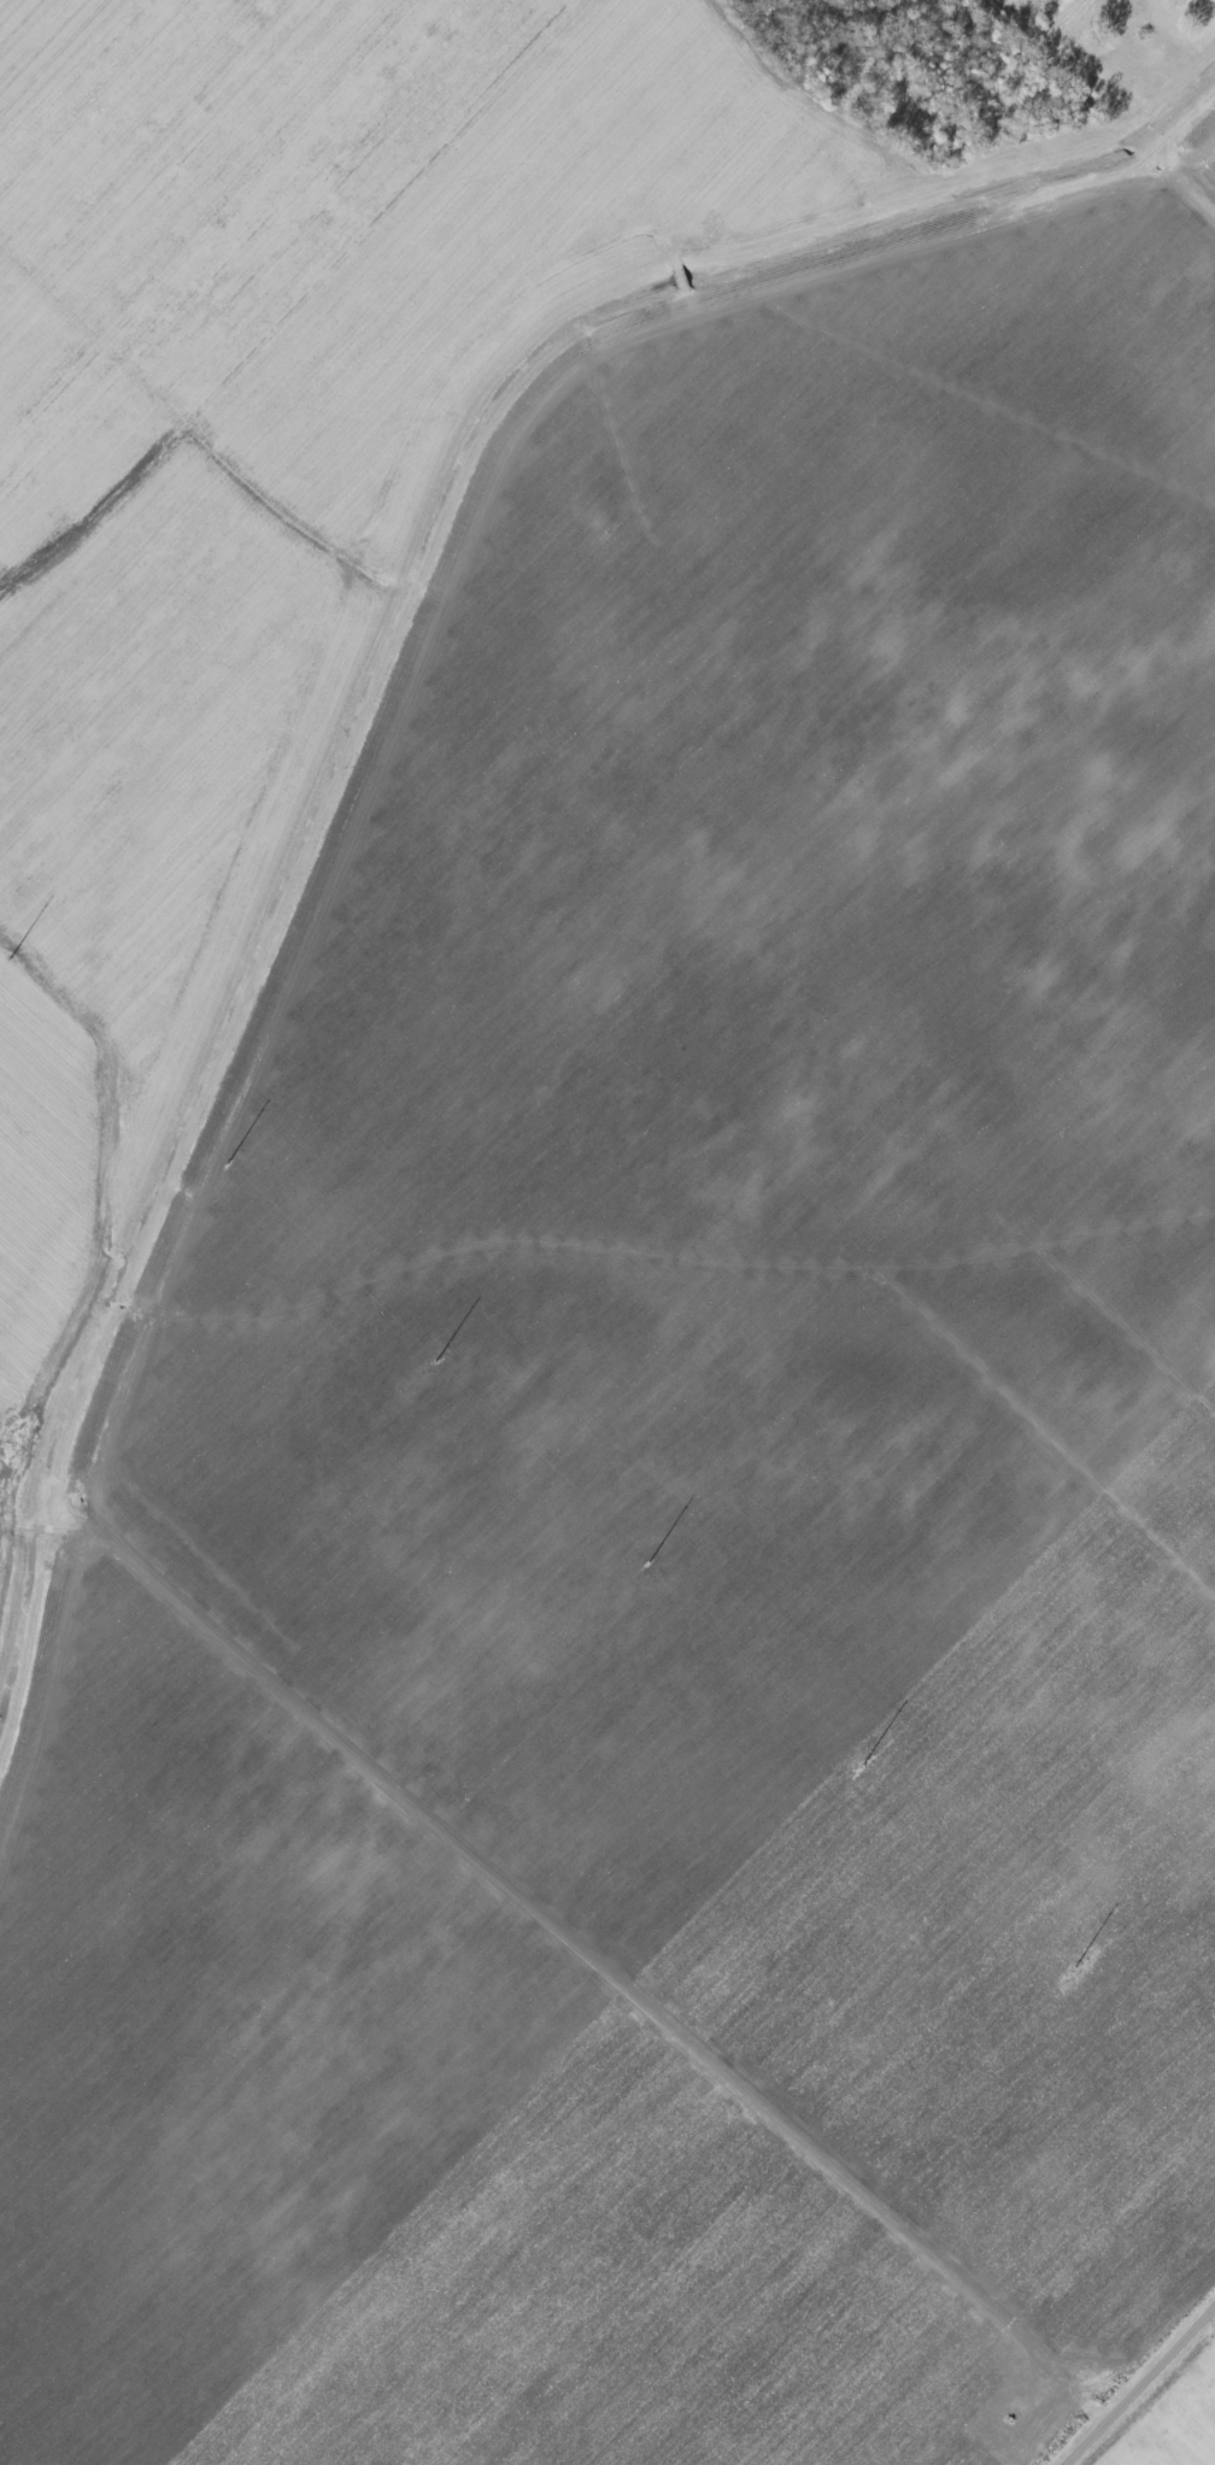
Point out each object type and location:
road: (1133, 2381)

